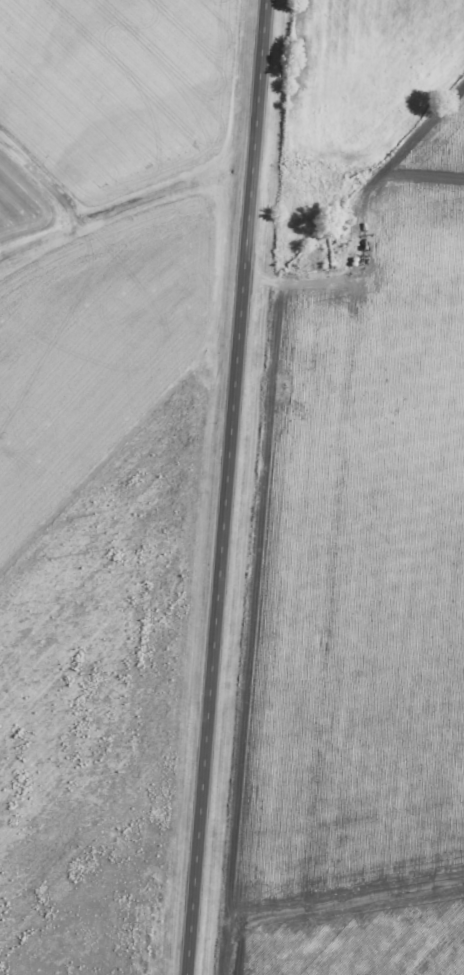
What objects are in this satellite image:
road: (224, 487)

